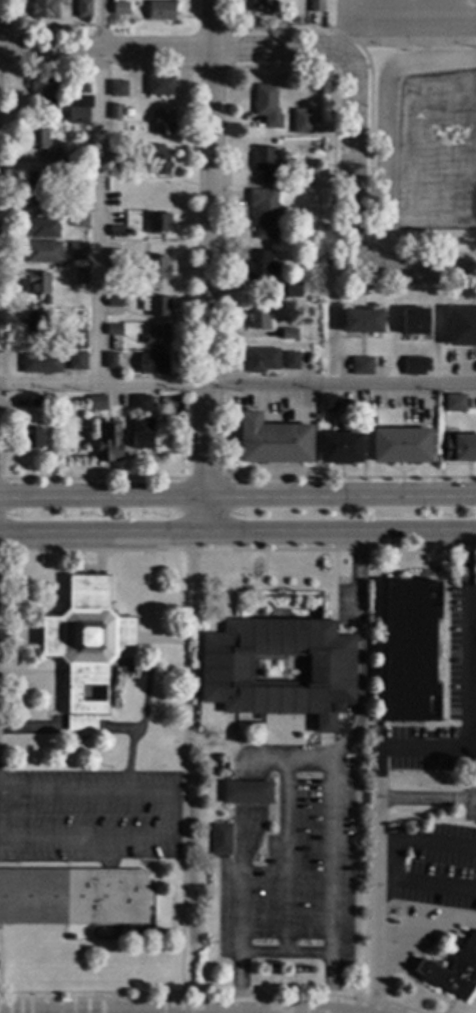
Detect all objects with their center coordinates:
building: (315, 5)
building: (261, 6)
building: (44, 8)
building: (82, 8)
building: (119, 8)
building: (160, 11)
road: (351, 26)
road: (179, 50)
building: (159, 86)
building: (118, 90)
building: (44, 93)
building: (266, 107)
building: (115, 112)
building: (76, 115)
building: (162, 122)
building: (301, 122)
building: (38, 140)
building: (115, 160)
building: (54, 161)
building: (263, 164)
building: (160, 165)
building: (79, 178)
road: (350, 179)
building: (307, 182)
building: (36, 187)
road: (98, 191)
building: (263, 213)
building: (79, 220)
building: (158, 223)
building: (42, 228)
building: (116, 231)
building: (76, 250)
building: (42, 252)
building: (115, 257)
building: (259, 266)
building: (157, 268)
road: (210, 269)
road: (431, 275)
building: (79, 278)
building: (37, 283)
building: (291, 290)
building: (45, 301)
building: (114, 302)
building: (155, 306)
building: (256, 317)
building: (361, 321)
building: (414, 322)
building: (34, 323)
building: (461, 327)
building: (113, 330)
building: (289, 334)
building: (156, 335)
building: (73, 340)
building: (76, 360)
building: (109, 360)
building: (261, 360)
building: (290, 361)
building: (41, 363)
building: (152, 364)
building: (413, 366)
building: (361, 367)
road: (237, 383)
building: (96, 403)
building: (140, 403)
building: (326, 403)
building: (455, 403)
building: (36, 404)
building: (313, 419)
building: (372, 423)
building: (141, 433)
building: (32, 439)
building: (273, 441)
building: (109, 444)
building: (402, 446)
building: (340, 448)
building: (459, 448)
road: (182, 493)
road: (238, 496)
road: (237, 537)
building: (85, 648)
building: (409, 652)
building: (226, 669)
road: (463, 709)
road: (332, 770)
road: (182, 781)
building: (246, 792)
road: (173, 816)
road: (239, 837)
building: (220, 839)
road: (426, 841)
road: (284, 855)
road: (376, 857)
road: (426, 884)
building: (73, 897)
road: (424, 926)
road: (283, 955)
building: (455, 971)
road: (259, 1012)

